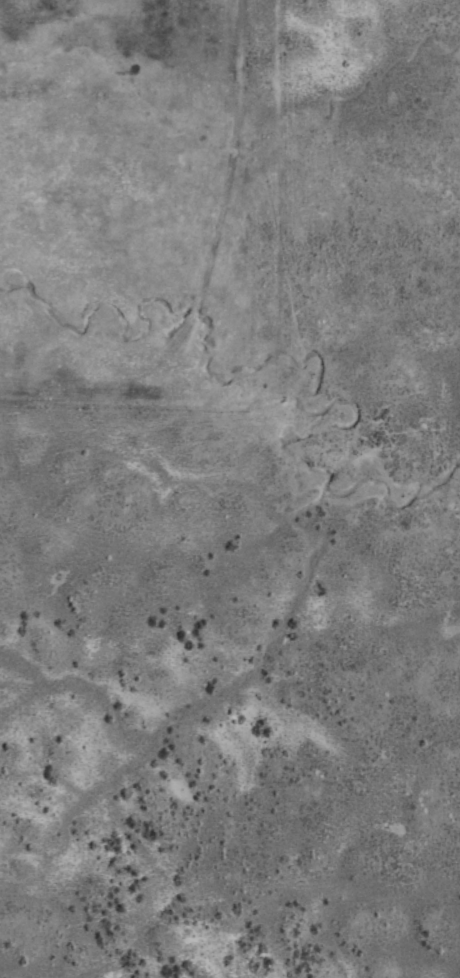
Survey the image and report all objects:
crop: (230, 489)

